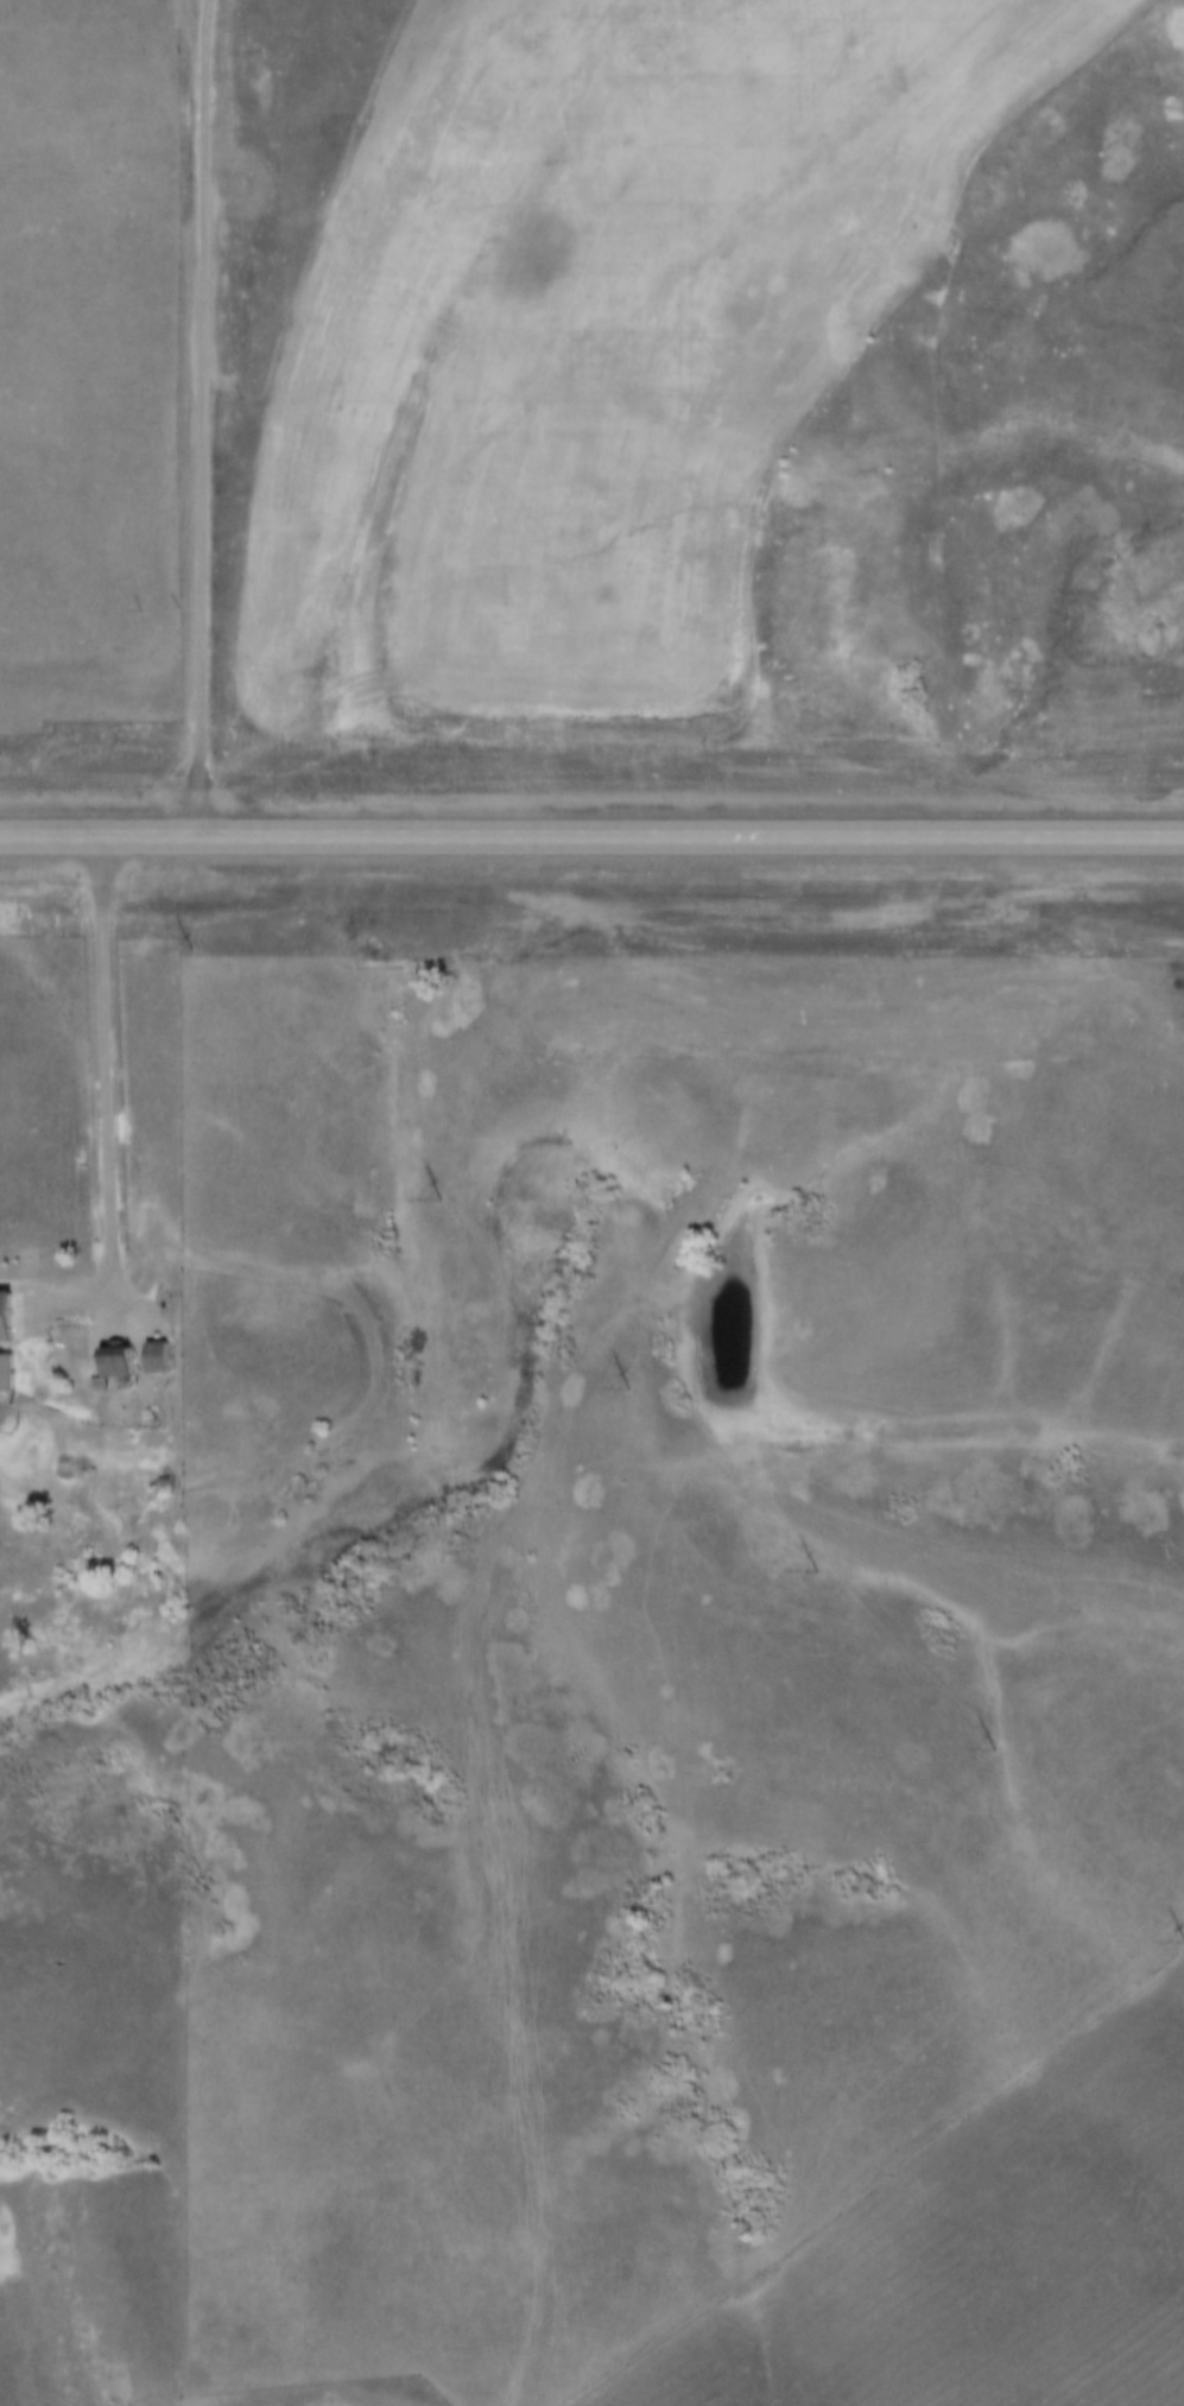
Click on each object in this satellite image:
road: (203, 419)
road: (591, 838)
road: (105, 1079)
building: (162, 1357)
building: (122, 1362)

